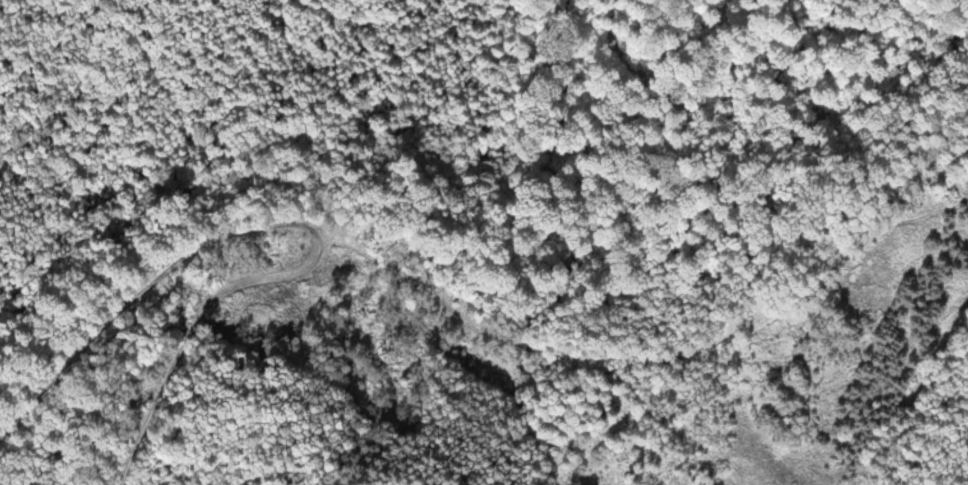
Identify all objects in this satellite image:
road: (192, 252)
road: (522, 359)

